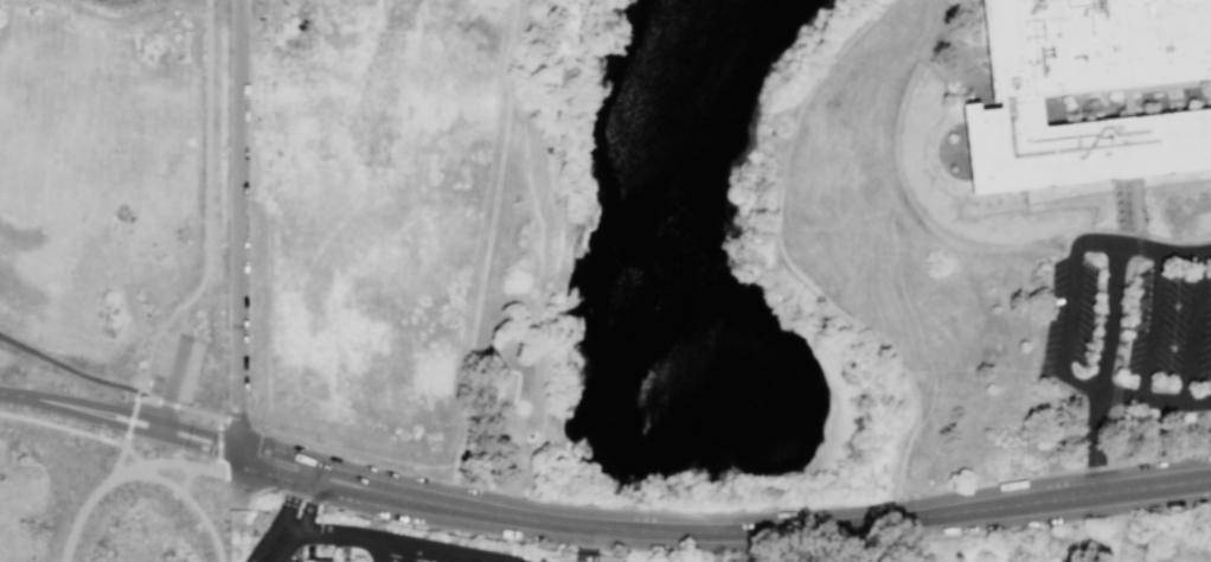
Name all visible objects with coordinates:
crop: (333, 2)
road: (943, 43)
road: (313, 50)
building: (1015, 97)
road: (210, 205)
road: (237, 210)
road: (891, 217)
road: (1138, 217)
road: (840, 225)
road: (786, 257)
road: (538, 261)
road: (480, 280)
road: (1074, 292)
road: (1122, 315)
parking lot: (1132, 320)
road: (1109, 324)
road: (1151, 325)
road: (1192, 328)
road: (930, 368)
parking lot: (175, 369)
road: (111, 383)
road: (171, 387)
road: (1116, 391)
road: (1138, 396)
road: (44, 400)
road: (154, 416)
road: (228, 419)
road: (130, 421)
road: (63, 426)
road: (218, 426)
road: (237, 434)
building: (530, 434)
road: (1124, 434)
road: (152, 435)
road: (228, 441)
road: (218, 443)
road: (353, 449)
road: (228, 451)
road: (118, 461)
road: (188, 466)
road: (454, 471)
road: (1053, 474)
road: (185, 479)
road: (182, 496)
road: (1094, 496)
road: (290, 498)
road: (89, 502)
parking lot: (241, 504)
road: (441, 504)
road: (308, 506)
road: (898, 509)
road: (814, 528)
road: (275, 541)
road: (390, 542)
road: (876, 542)
park: (1000, 543)
park: (858, 544)
road: (387, 551)
parking lot: (294, 555)
road: (258, 558)
road: (265, 558)
building: (355, 558)
building: (316, 560)

